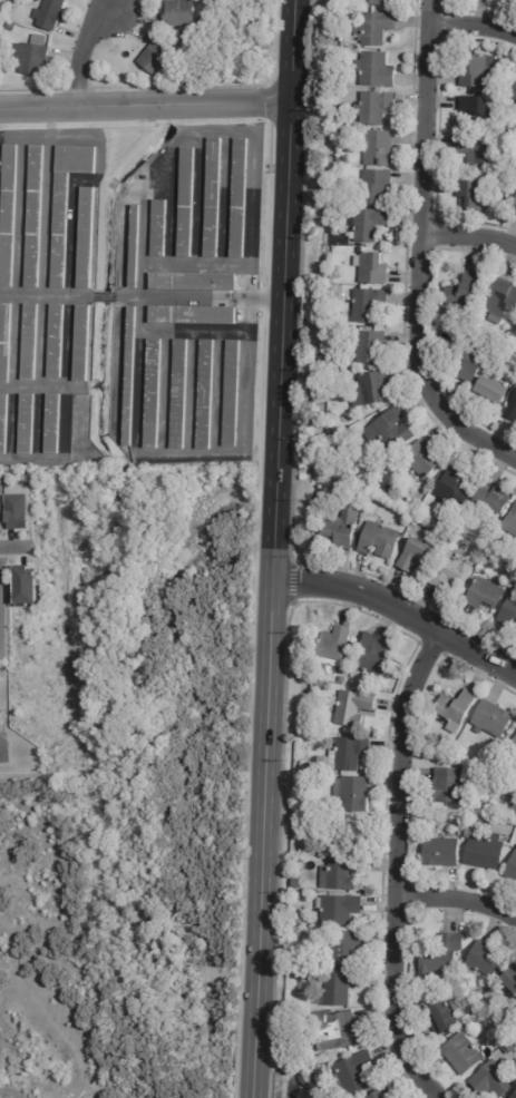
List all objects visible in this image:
building: (18, 0)
building: (513, 0)
building: (380, 2)
building: (345, 3)
building: (51, 13)
building: (181, 13)
road: (474, 20)
building: (10, 28)
building: (372, 28)
building: (184, 38)
building: (188, 40)
road: (81, 51)
building: (35, 55)
building: (157, 58)
building: (372, 70)
building: (473, 71)
building: (513, 94)
road: (145, 104)
building: (371, 107)
building: (477, 109)
building: (495, 135)
building: (376, 149)
building: (476, 150)
building: (339, 163)
building: (371, 187)
building: (470, 196)
building: (212, 198)
building: (240, 198)
building: (68, 199)
building: (186, 203)
building: (514, 208)
building: (9, 216)
building: (35, 217)
building: (371, 224)
building: (159, 228)
road: (470, 236)
building: (88, 238)
building: (338, 241)
building: (135, 246)
road: (420, 253)
building: (371, 269)
building: (193, 283)
building: (461, 292)
road: (70, 294)
building: (498, 302)
building: (366, 305)
building: (192, 316)
building: (515, 335)
building: (4, 342)
building: (56, 342)
building: (30, 343)
building: (84, 344)
building: (367, 347)
building: (468, 359)
building: (130, 378)
building: (369, 390)
building: (489, 391)
building: (153, 394)
building: (231, 394)
building: (179, 395)
building: (205, 395)
building: (512, 411)
building: (3, 424)
building: (27, 424)
building: (53, 424)
building: (389, 431)
building: (330, 432)
building: (420, 460)
building: (348, 482)
building: (452, 490)
building: (488, 501)
building: (0, 502)
building: (16, 511)
building: (0, 520)
building: (509, 525)
building: (338, 530)
building: (376, 541)
building: (457, 545)
road: (14, 546)
road: (275, 548)
building: (415, 557)
building: (448, 573)
building: (25, 585)
building: (481, 596)
road: (399, 611)
building: (507, 611)
building: (514, 627)
building: (331, 646)
building: (373, 656)
building: (340, 679)
building: (318, 684)
building: (350, 706)
building: (454, 709)
building: (489, 719)
building: (512, 747)
building: (345, 753)
building: (300, 764)
building: (448, 785)
building: (348, 794)
building: (480, 806)
building: (506, 808)
building: (451, 816)
building: (479, 818)
building: (344, 832)
building: (439, 852)
building: (484, 852)
road: (392, 869)
building: (510, 870)
building: (340, 872)
building: (292, 881)
road: (455, 896)
building: (335, 909)
building: (293, 922)
building: (341, 949)
building: (439, 954)
building: (483, 959)
building: (508, 980)
building: (335, 987)
building: (441, 1018)
building: (514, 1019)
building: (330, 1030)
building: (500, 1040)
building: (460, 1053)
building: (349, 1072)
building: (491, 1078)
building: (312, 1079)
building: (379, 1094)
building: (514, 1096)

